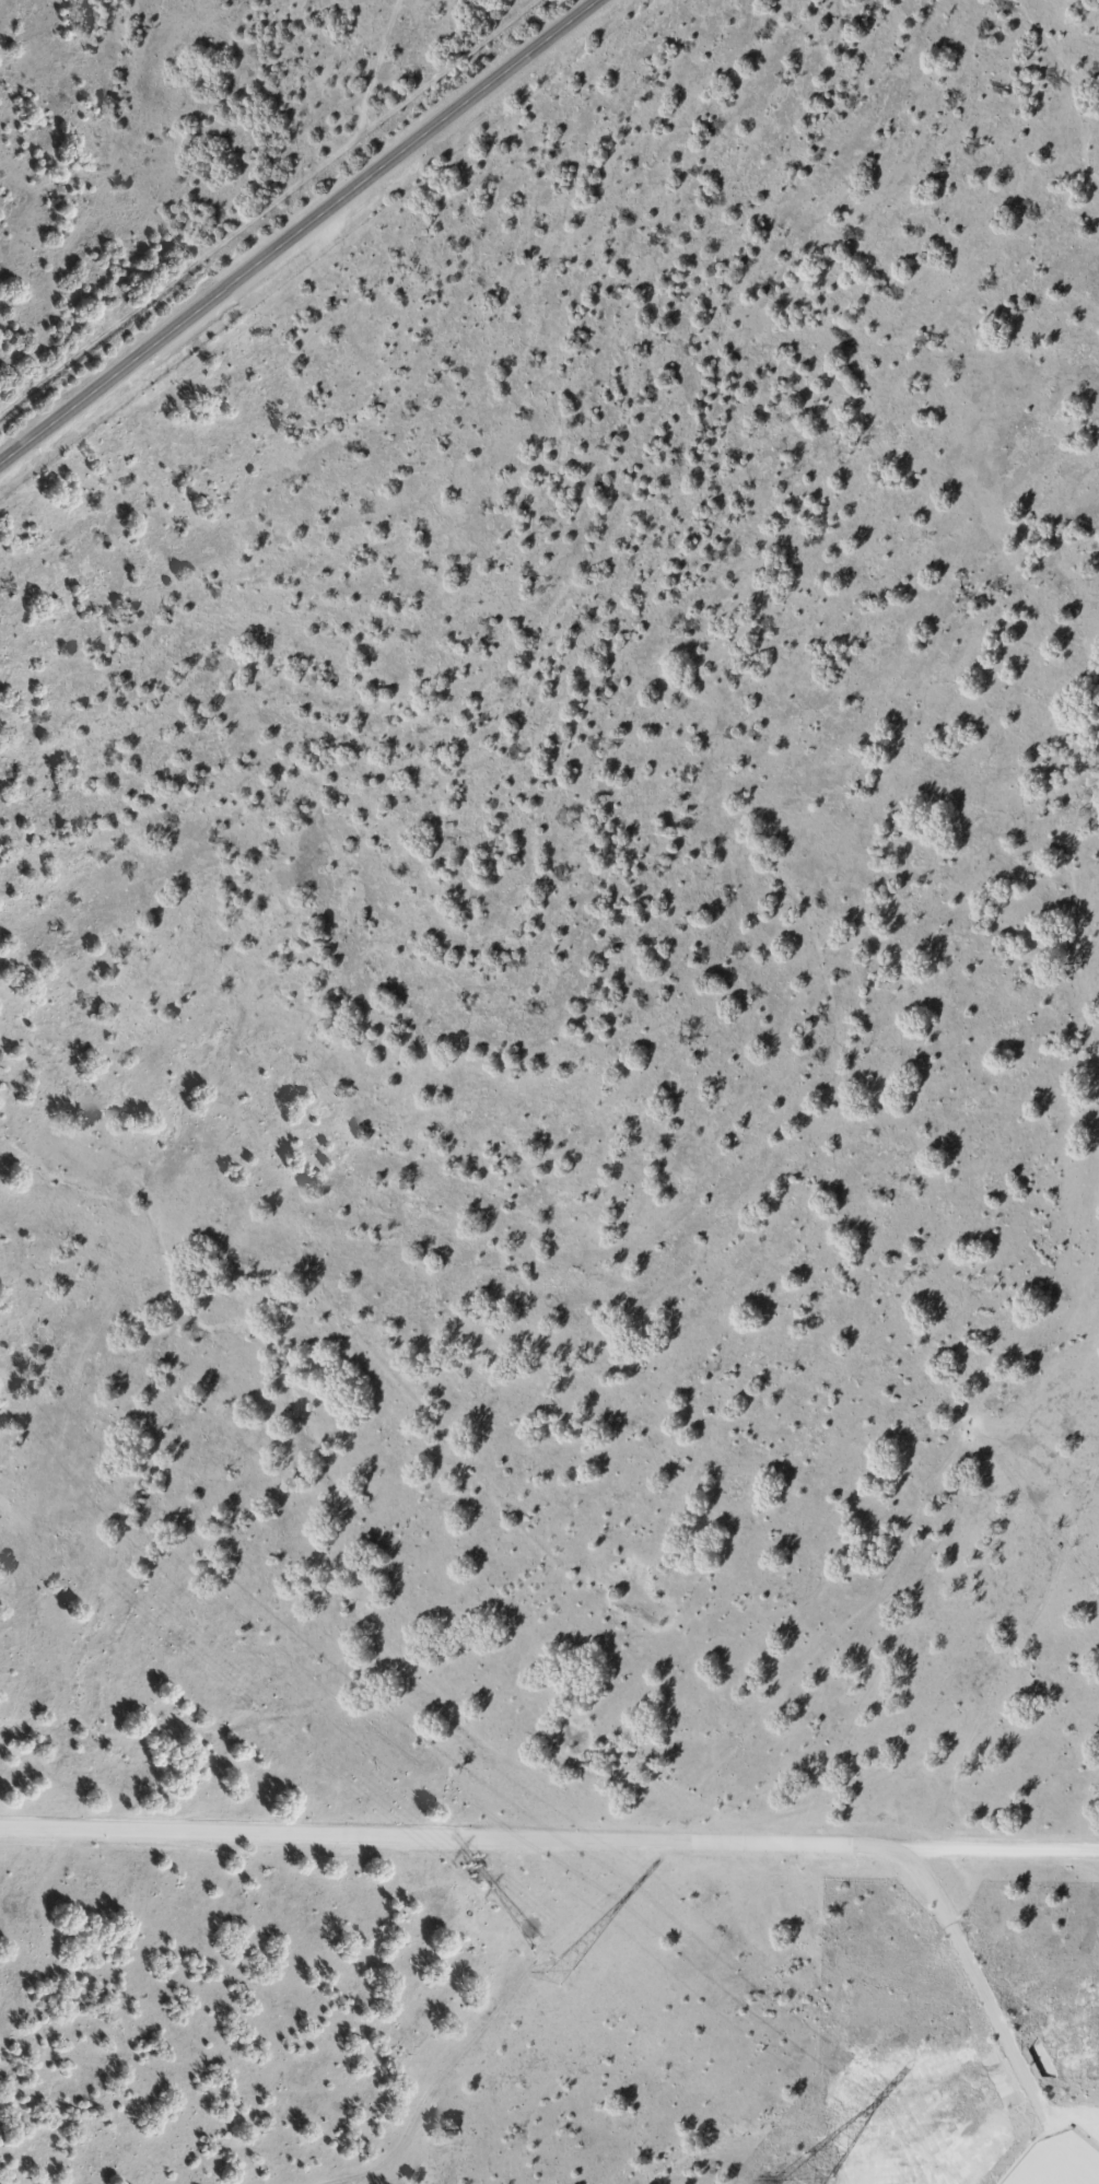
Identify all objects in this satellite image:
road: (302, 233)
road: (549, 1842)
power tower: (554, 1969)
road: (983, 1994)
power substation: (1056, 2161)
power tower: (805, 2181)

